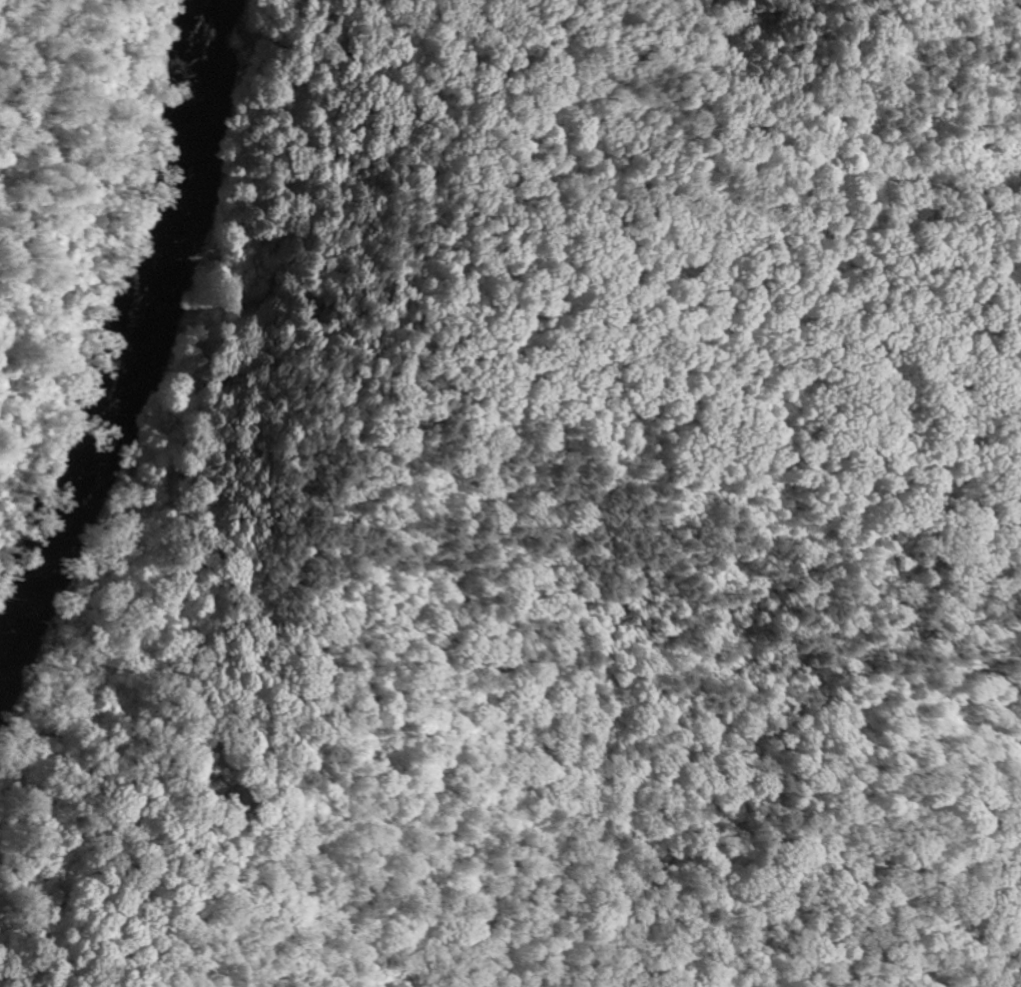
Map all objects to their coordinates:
river: (146, 340)

